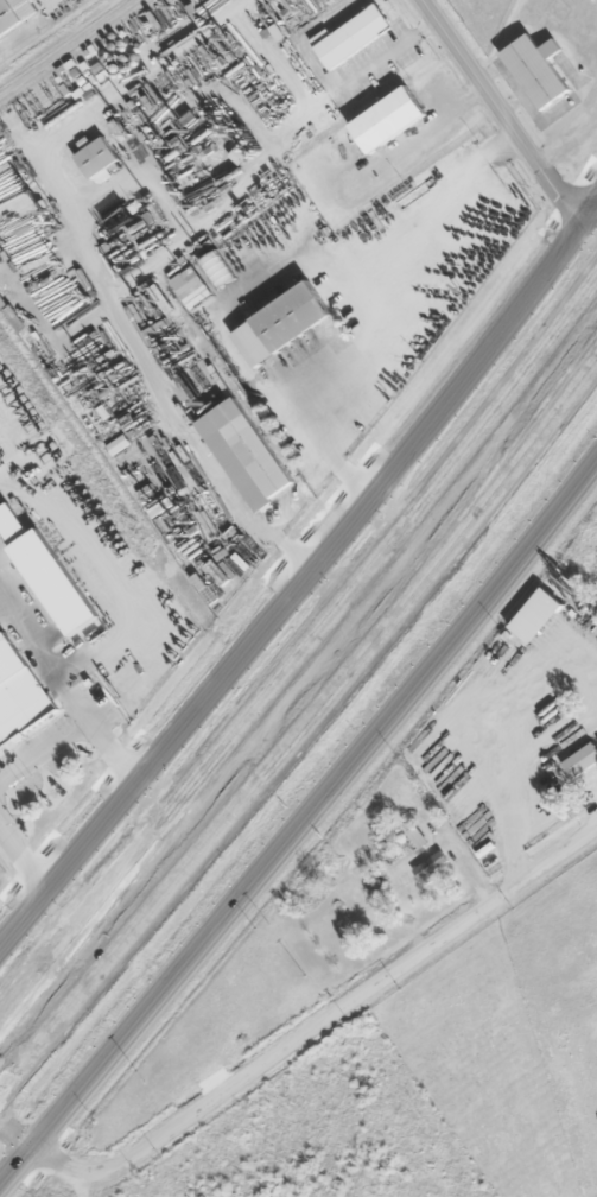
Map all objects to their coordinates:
building: (15, 14)
building: (356, 36)
building: (538, 71)
road: (508, 112)
building: (394, 121)
building: (97, 158)
building: (220, 271)
building: (297, 316)
building: (250, 452)
building: (58, 583)
road: (303, 587)
building: (538, 616)
road: (300, 653)
building: (20, 696)
road: (299, 724)
building: (582, 762)
road: (301, 824)
building: (419, 838)
building: (431, 869)
road: (323, 1025)

